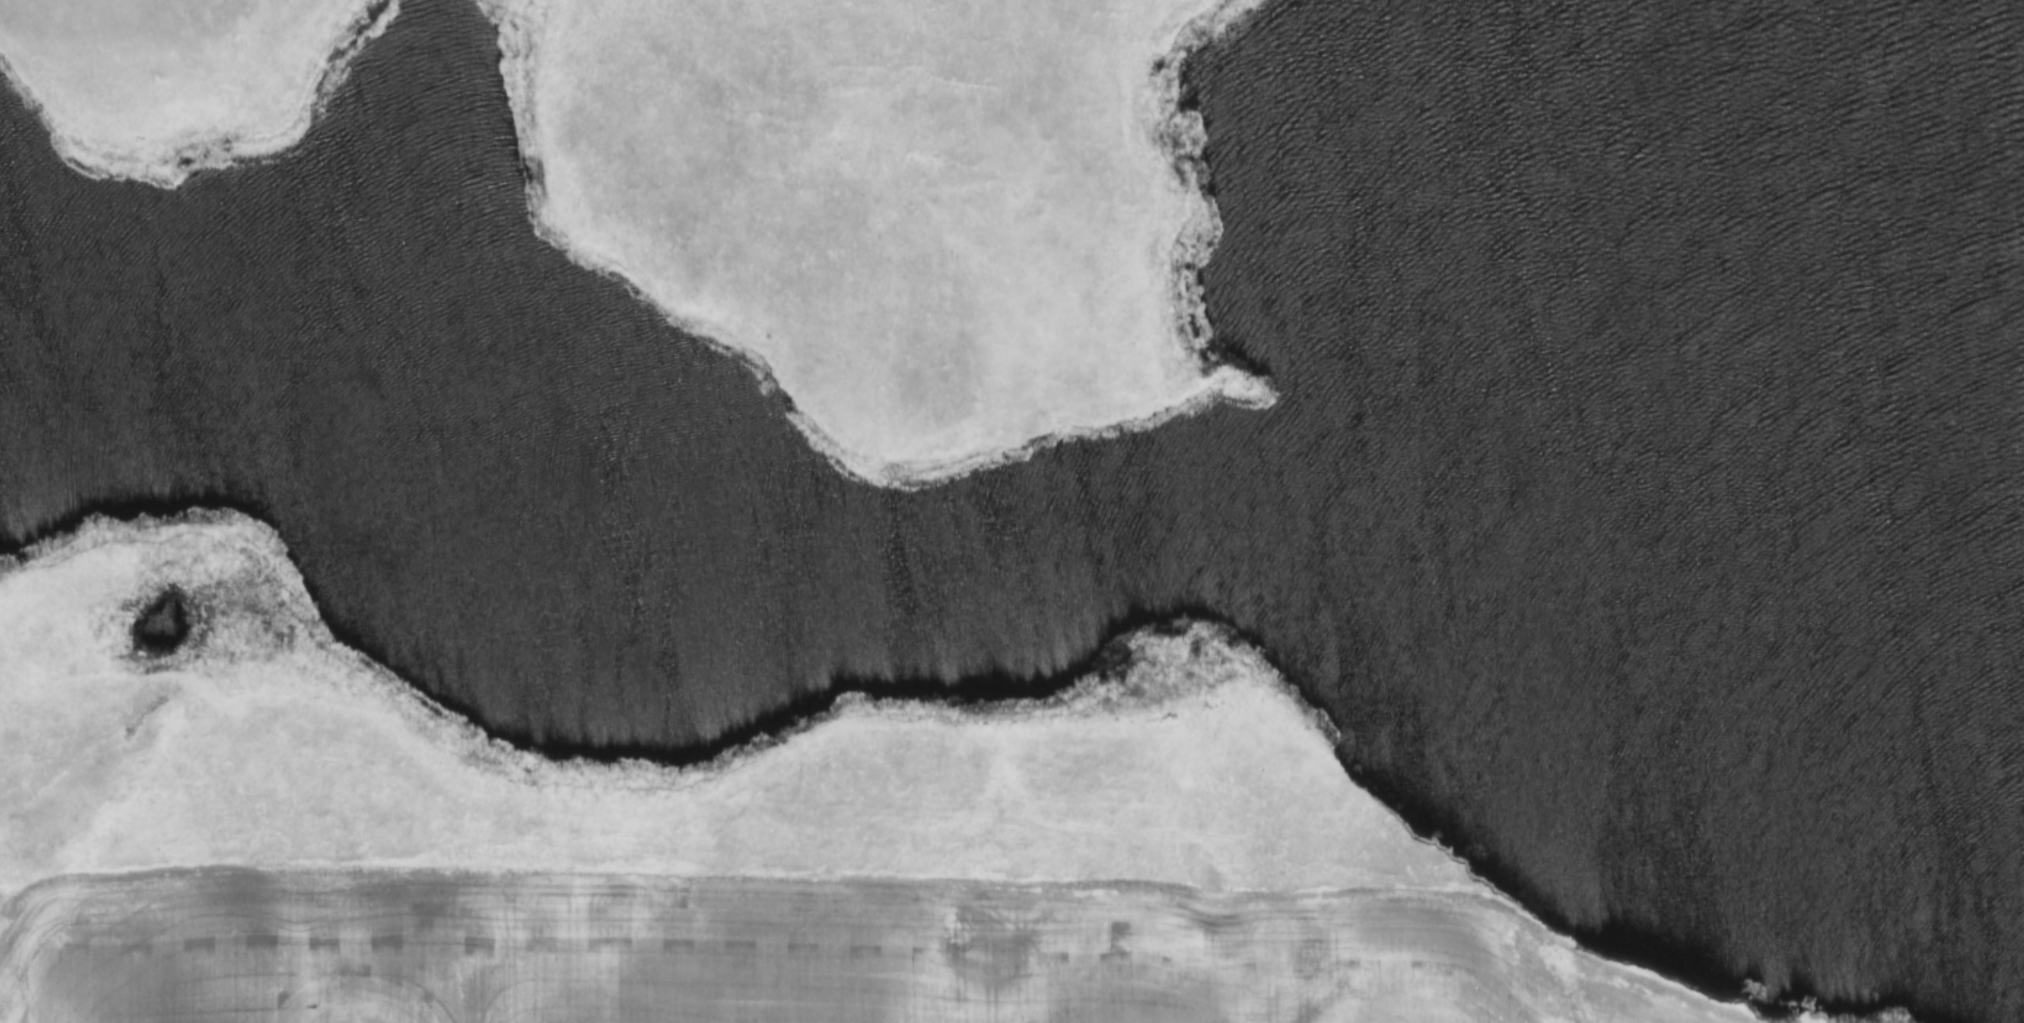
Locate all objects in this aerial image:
road: (897, 837)

